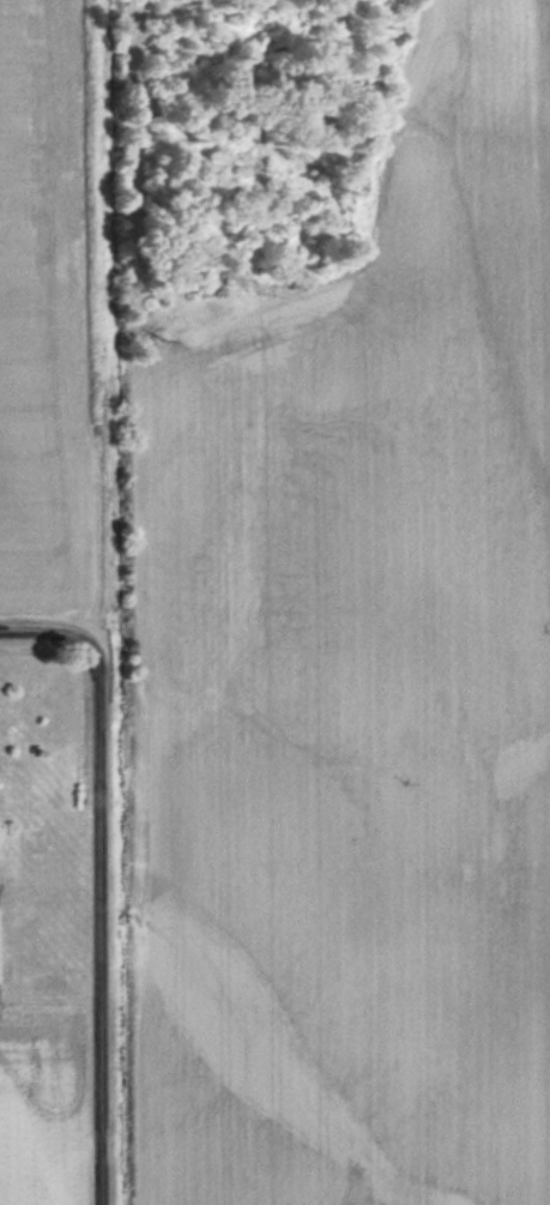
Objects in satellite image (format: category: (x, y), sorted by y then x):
road: (97, 878)

